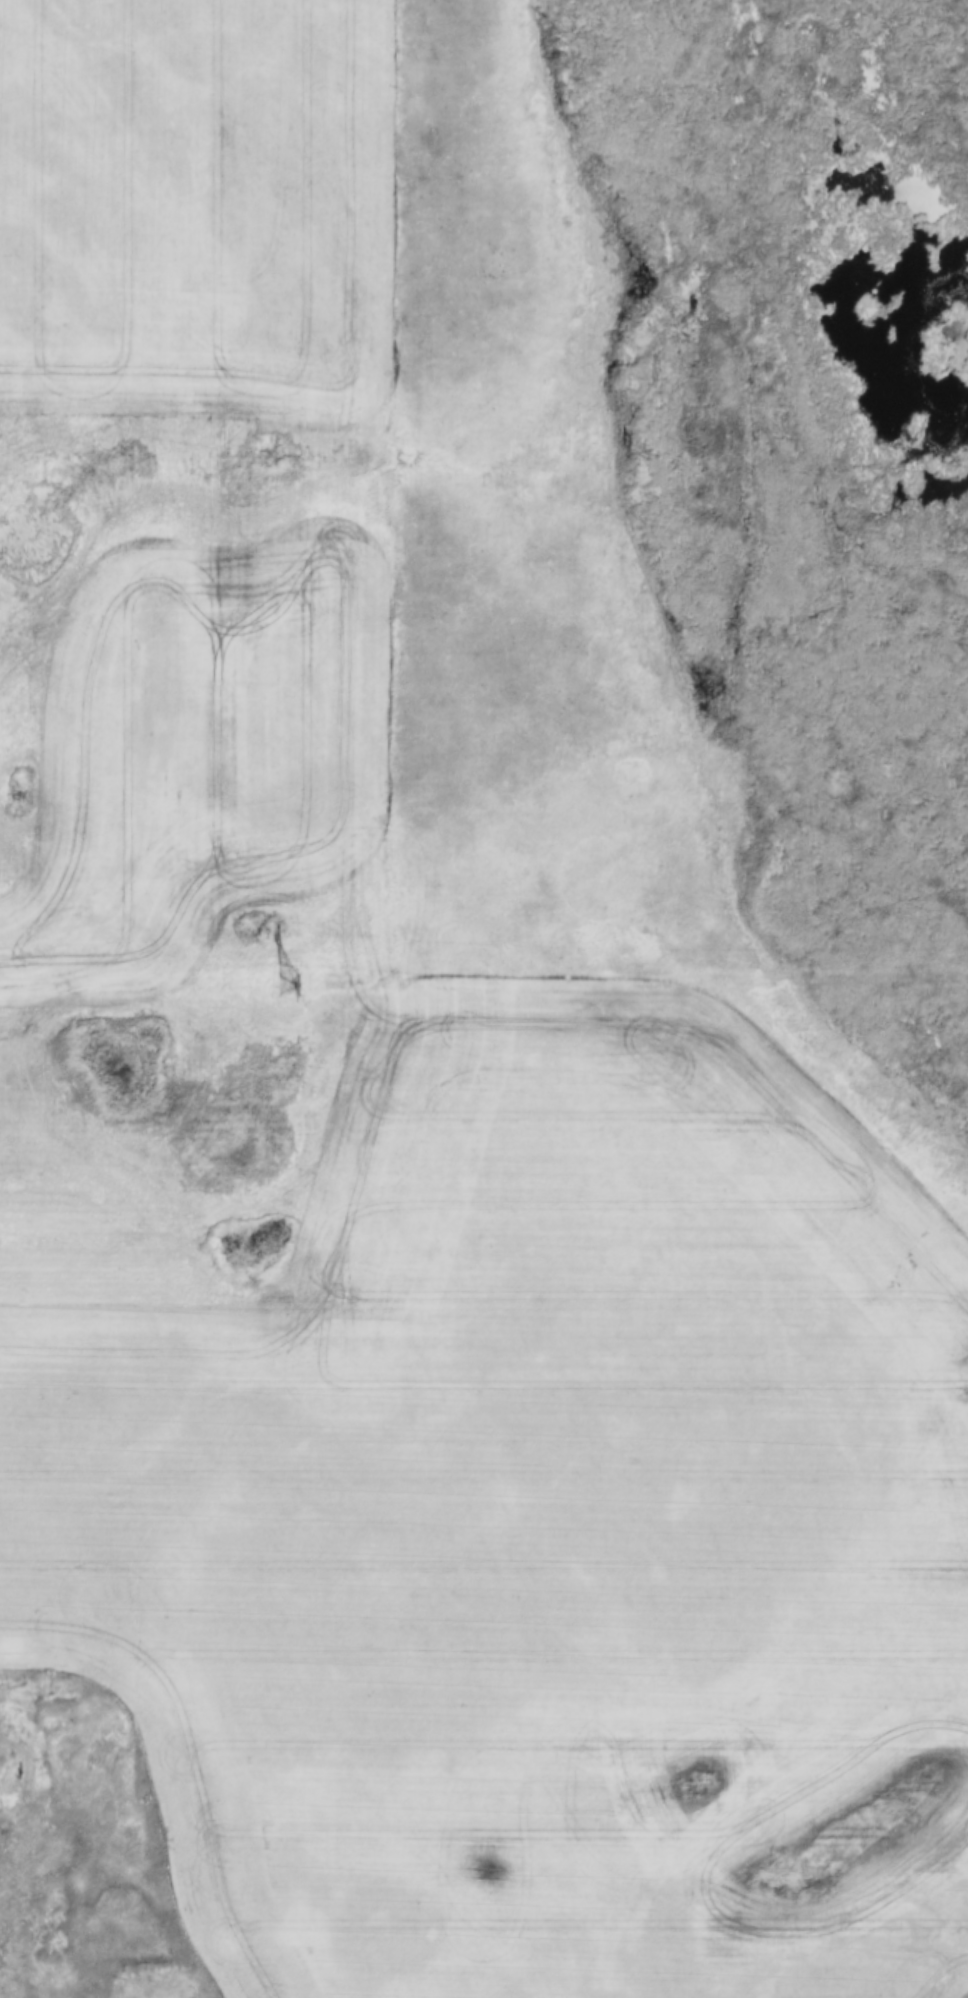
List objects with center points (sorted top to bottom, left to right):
power tower: (290, 987)

